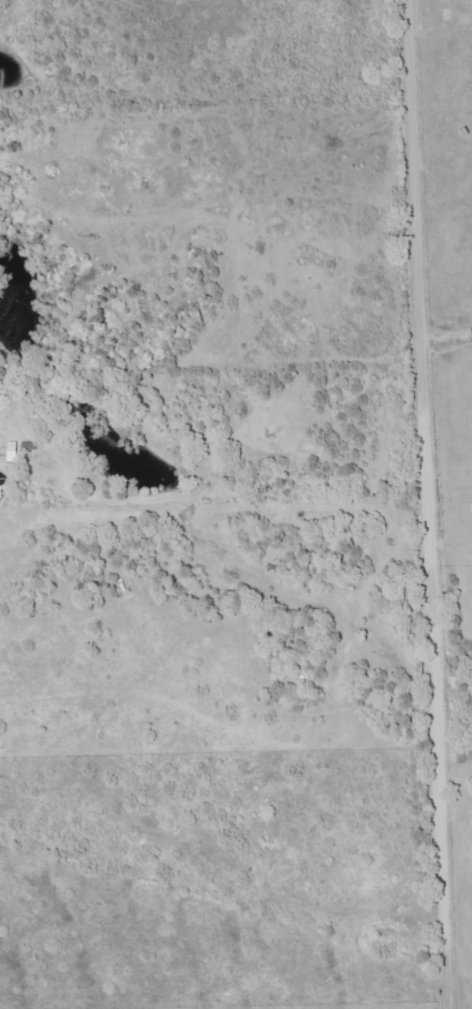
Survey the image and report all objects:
building: (2, 486)
road: (425, 504)

